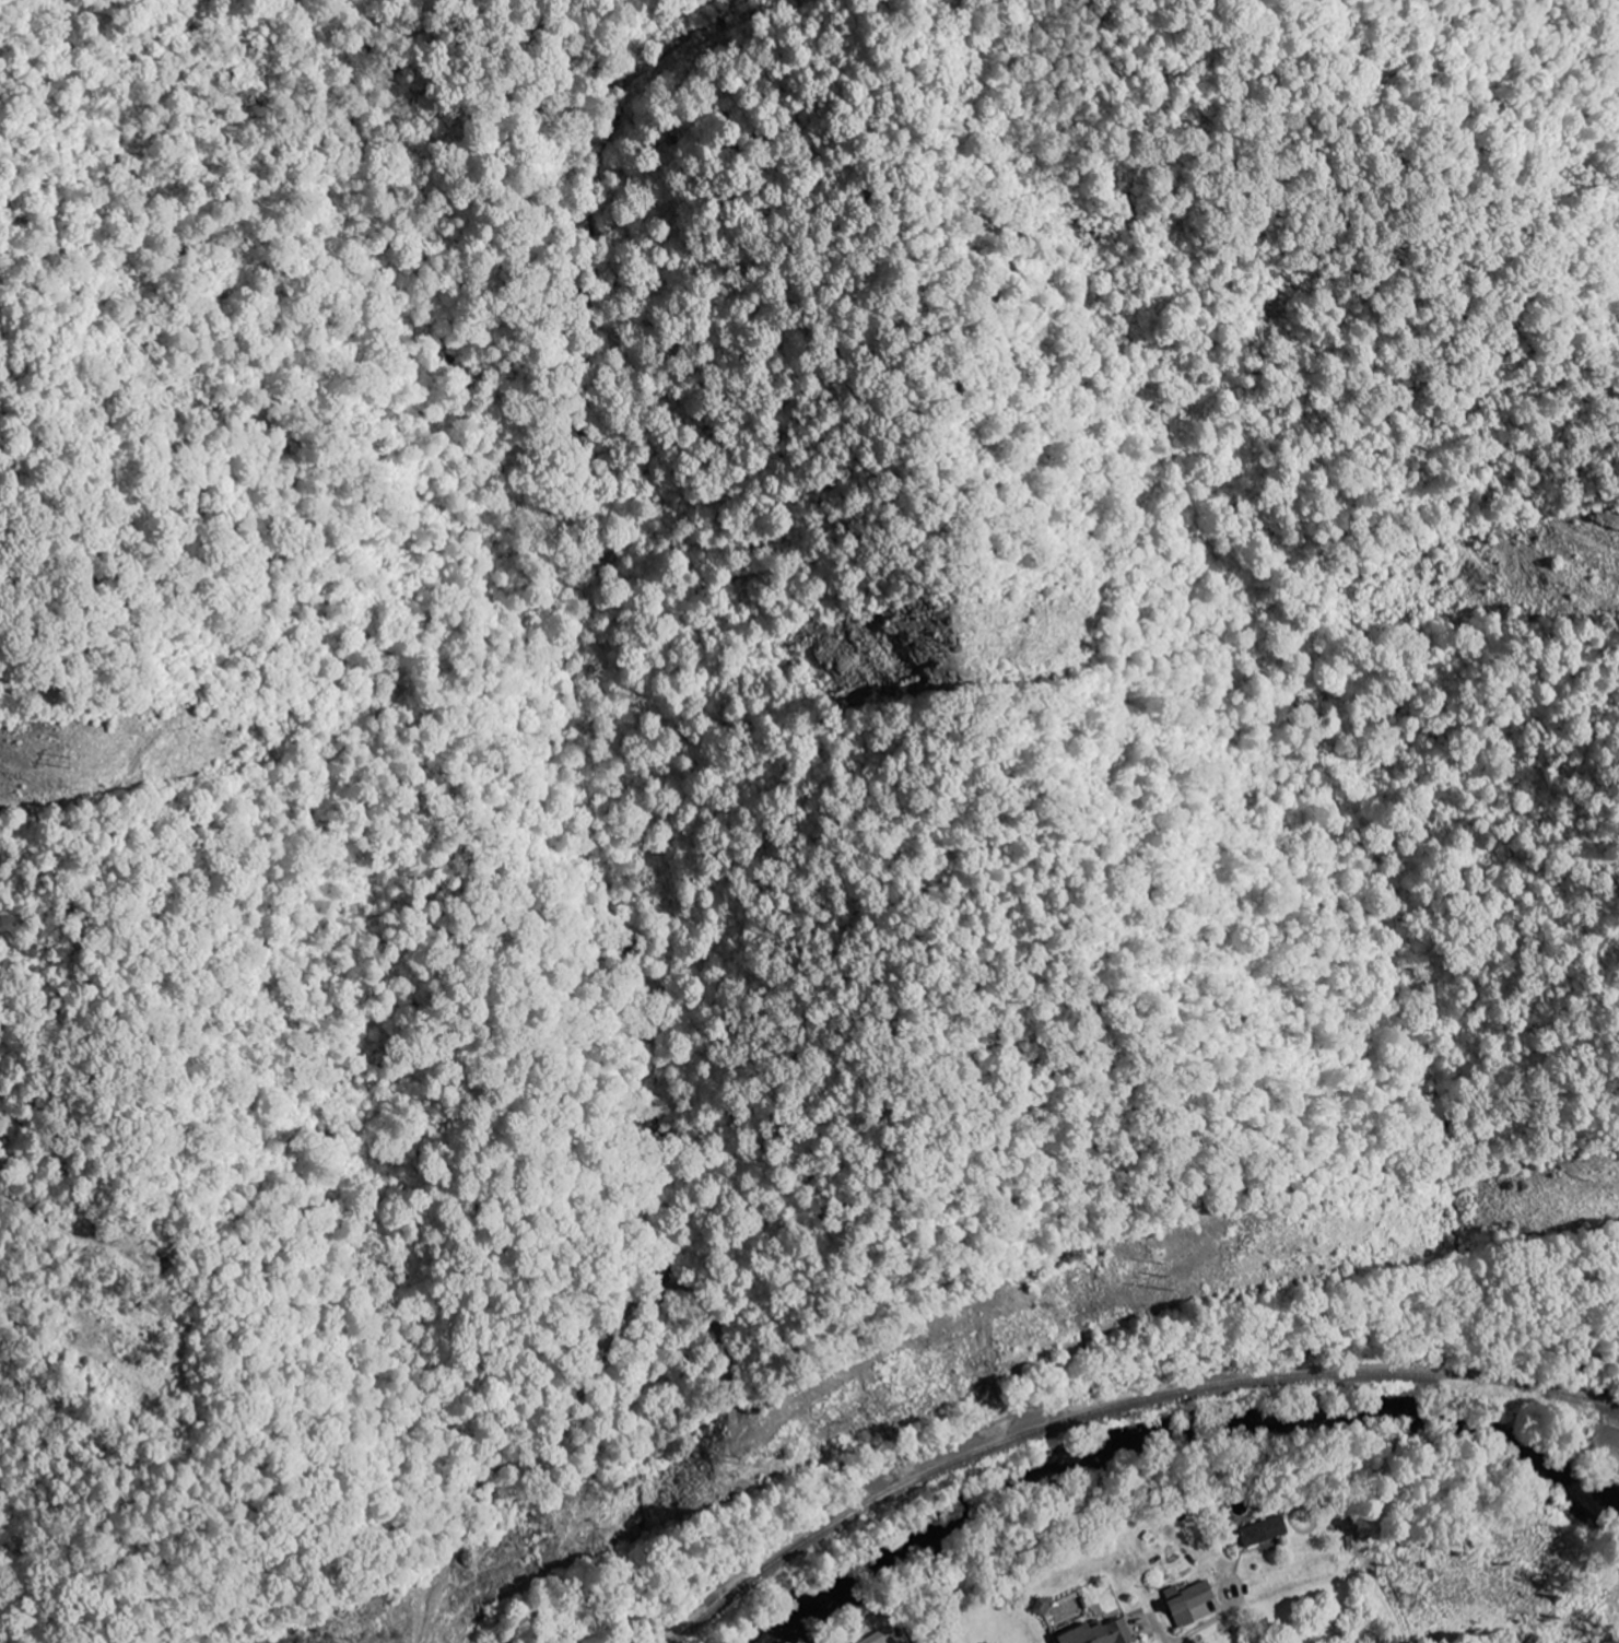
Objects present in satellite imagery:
railway: (1111, 1401)
river: (1174, 1422)
building: (1259, 1531)
building: (1196, 1601)
building: (1103, 1633)
road: (1164, 1639)

